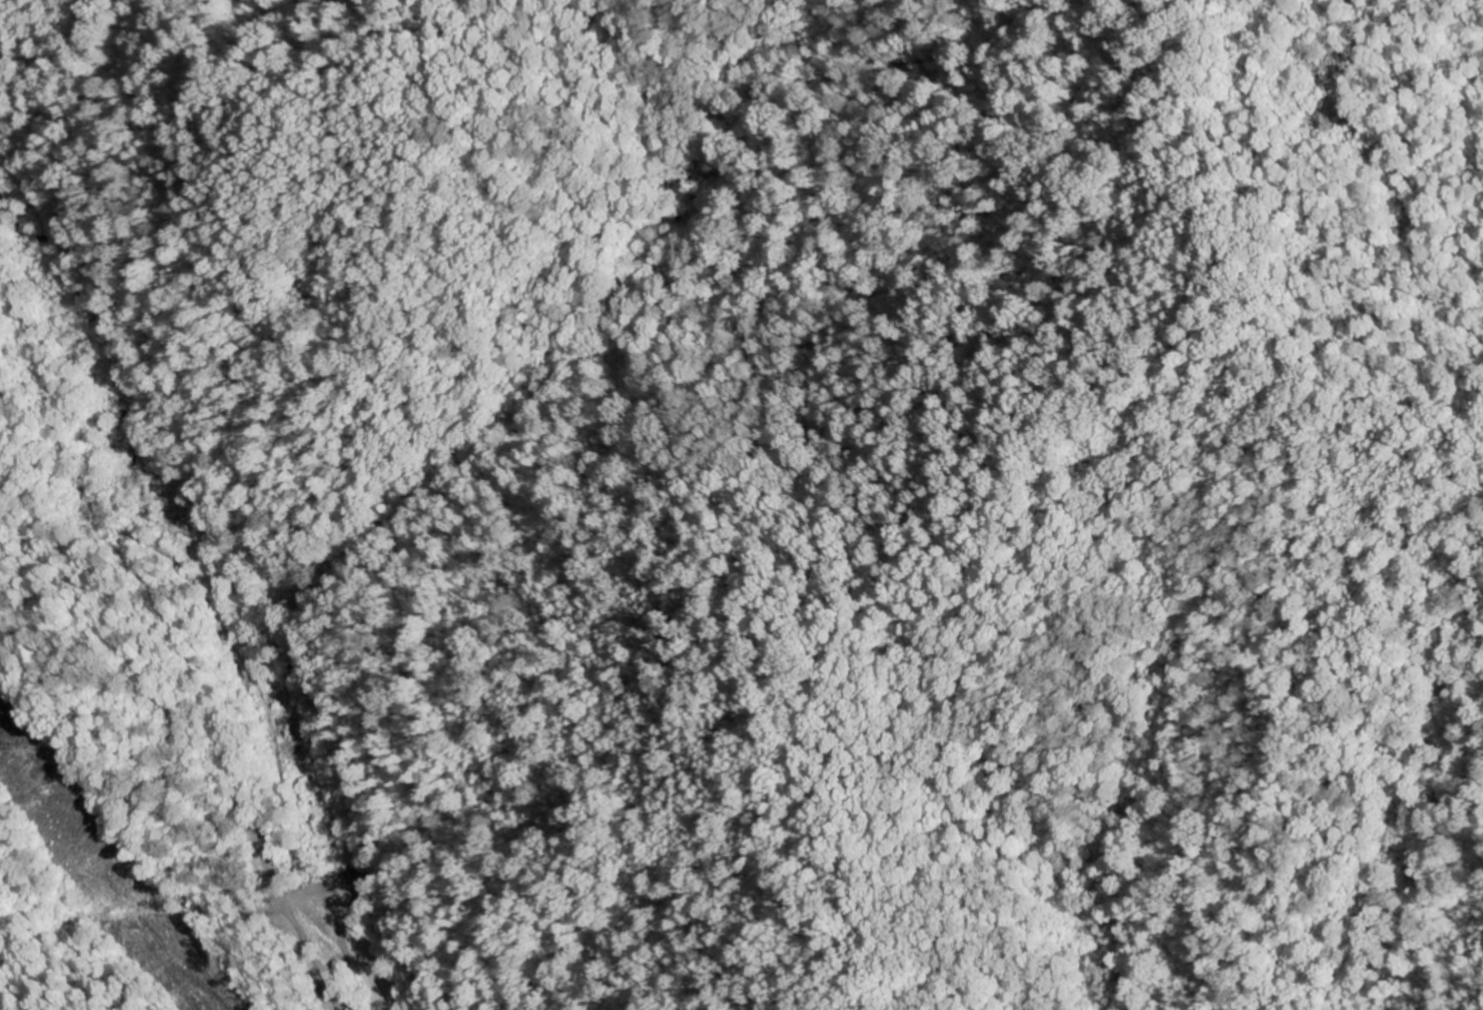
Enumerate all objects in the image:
road: (207, 622)

